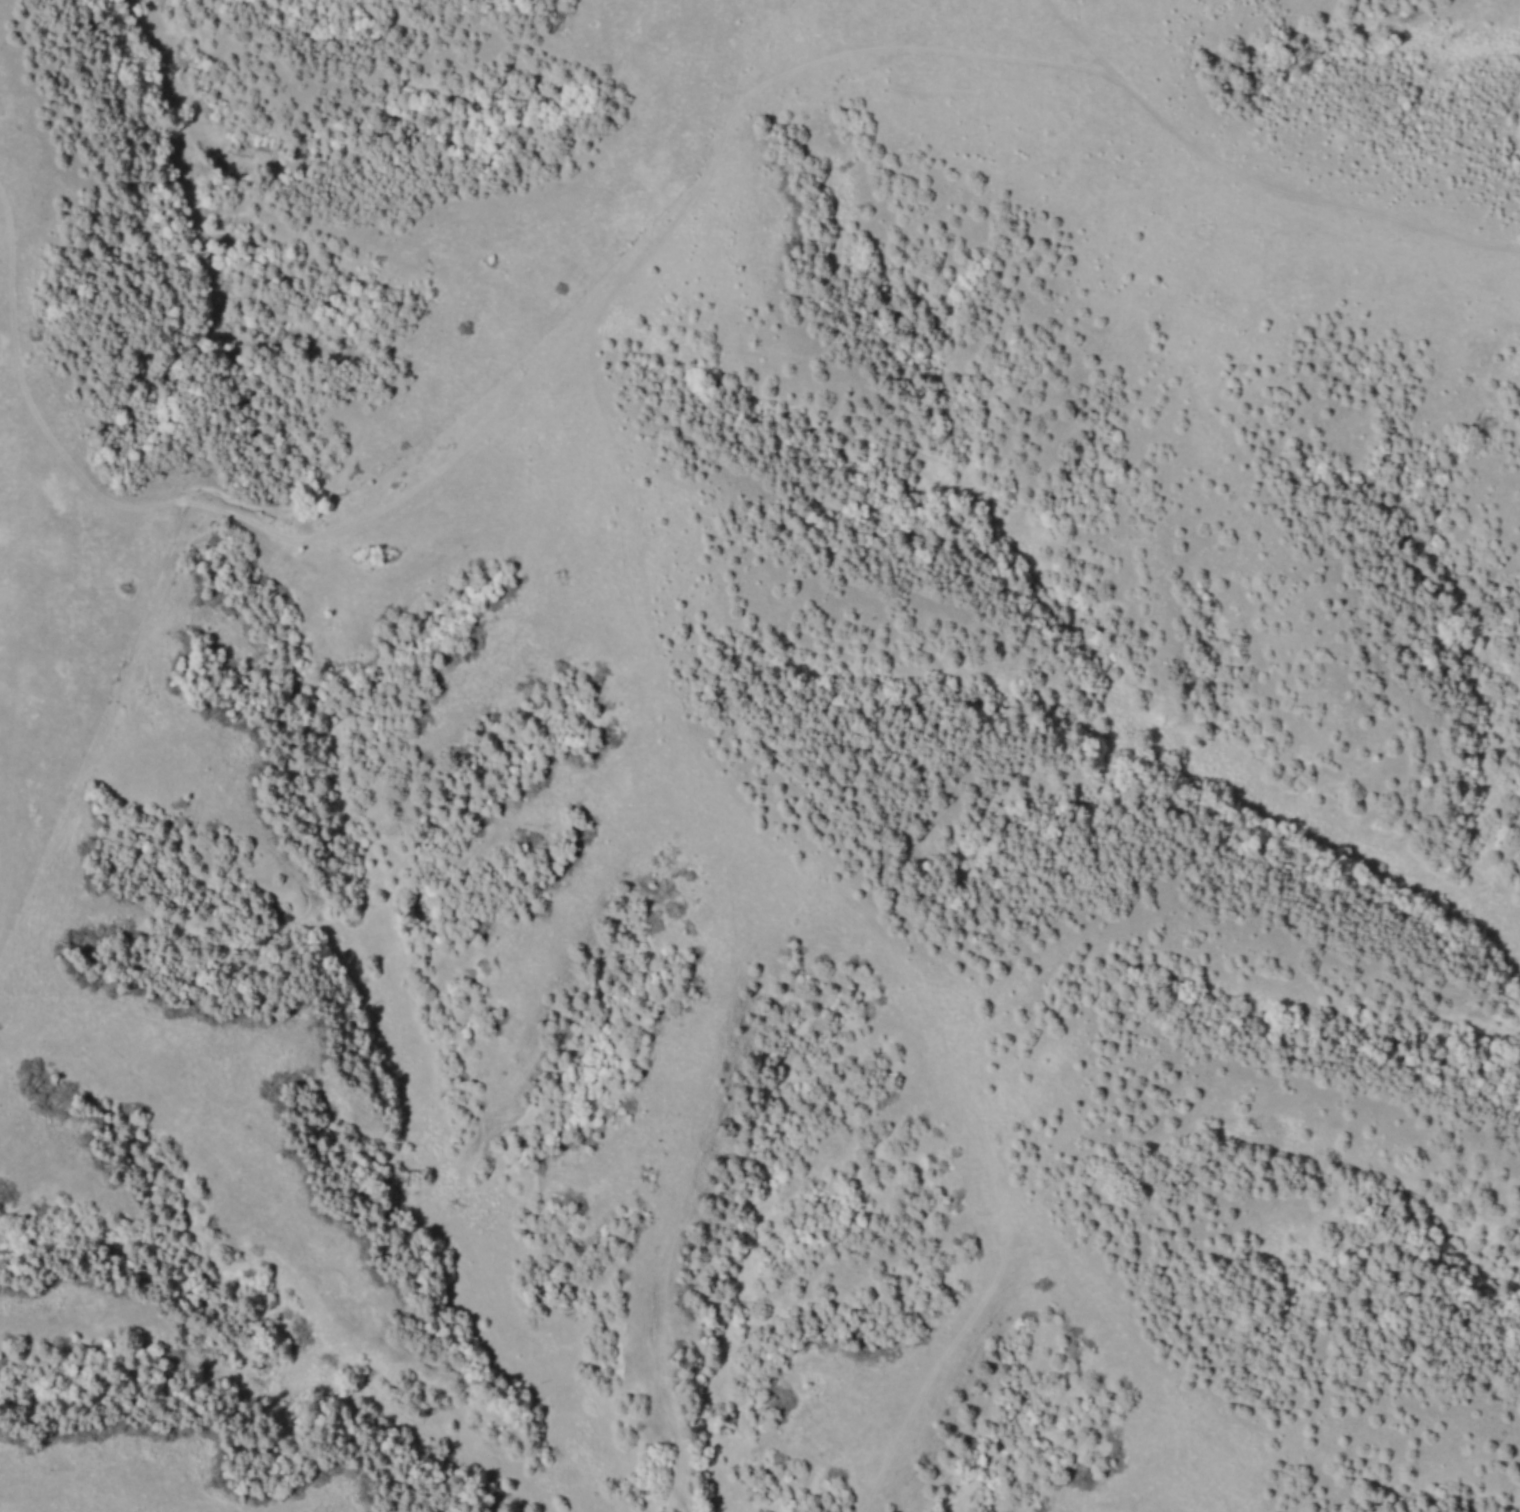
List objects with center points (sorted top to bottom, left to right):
road: (1254, 176)
road: (491, 416)

